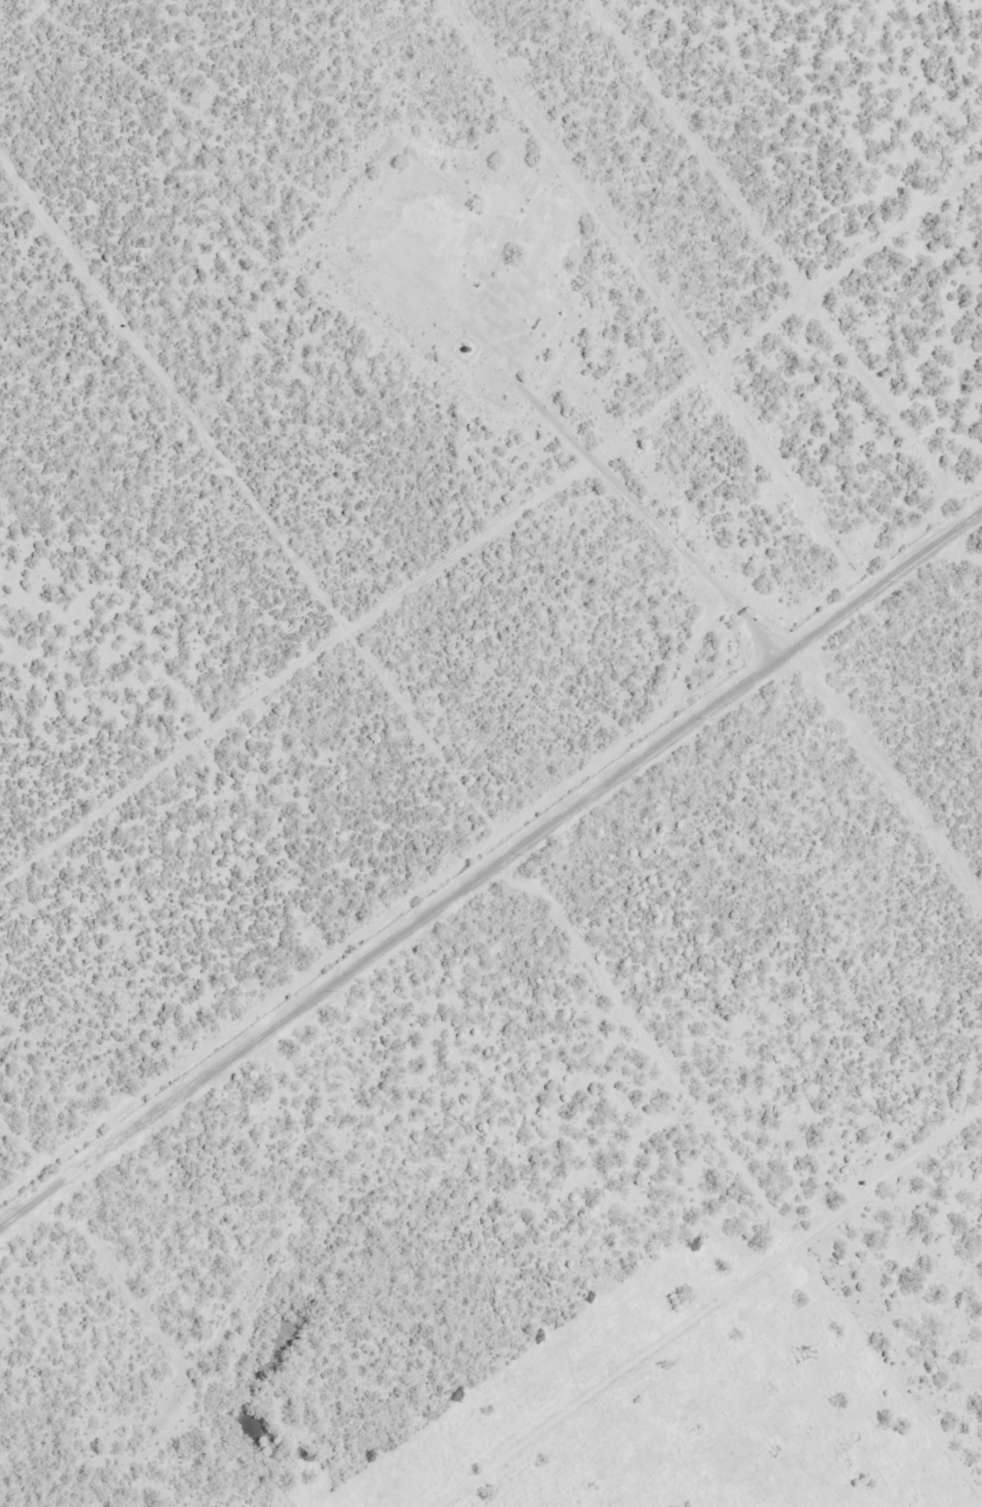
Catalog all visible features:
road: (490, 901)

